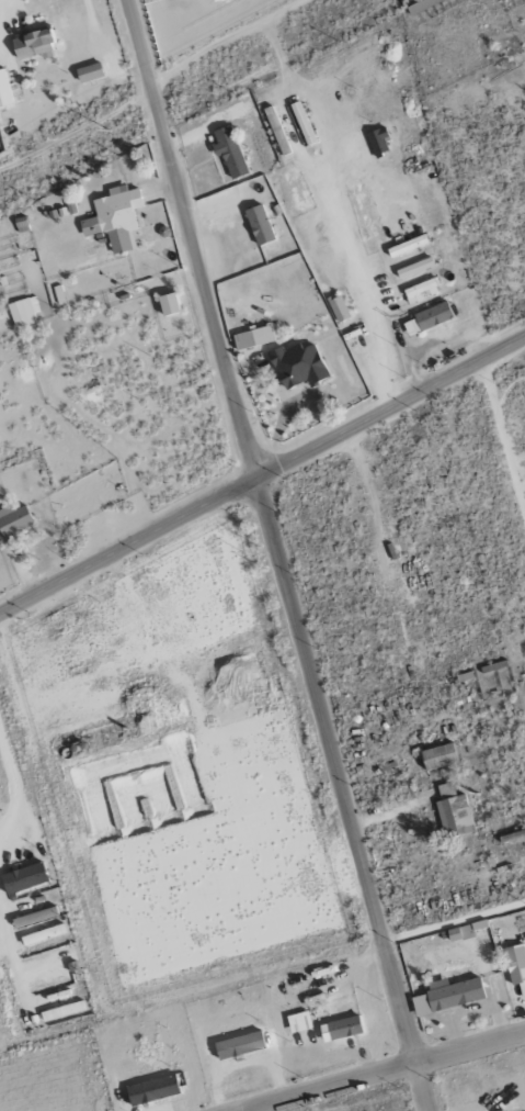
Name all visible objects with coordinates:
building: (422, 3)
building: (33, 43)
building: (89, 71)
building: (4, 90)
building: (301, 122)
building: (378, 141)
building: (229, 151)
building: (114, 217)
building: (259, 224)
building: (407, 246)
building: (414, 267)
building: (419, 288)
building: (168, 304)
building: (338, 307)
building: (23, 312)
building: (426, 318)
building: (253, 337)
building: (298, 364)
road: (262, 475)
building: (13, 520)
road: (279, 555)
building: (438, 756)
road: (14, 790)
building: (453, 811)
building: (23, 878)
building: (34, 917)
building: (465, 931)
building: (43, 934)
road: (13, 947)
building: (515, 965)
building: (446, 997)
building: (62, 1010)
building: (298, 1022)
building: (340, 1029)
building: (239, 1045)
road: (386, 1071)
building: (152, 1089)

